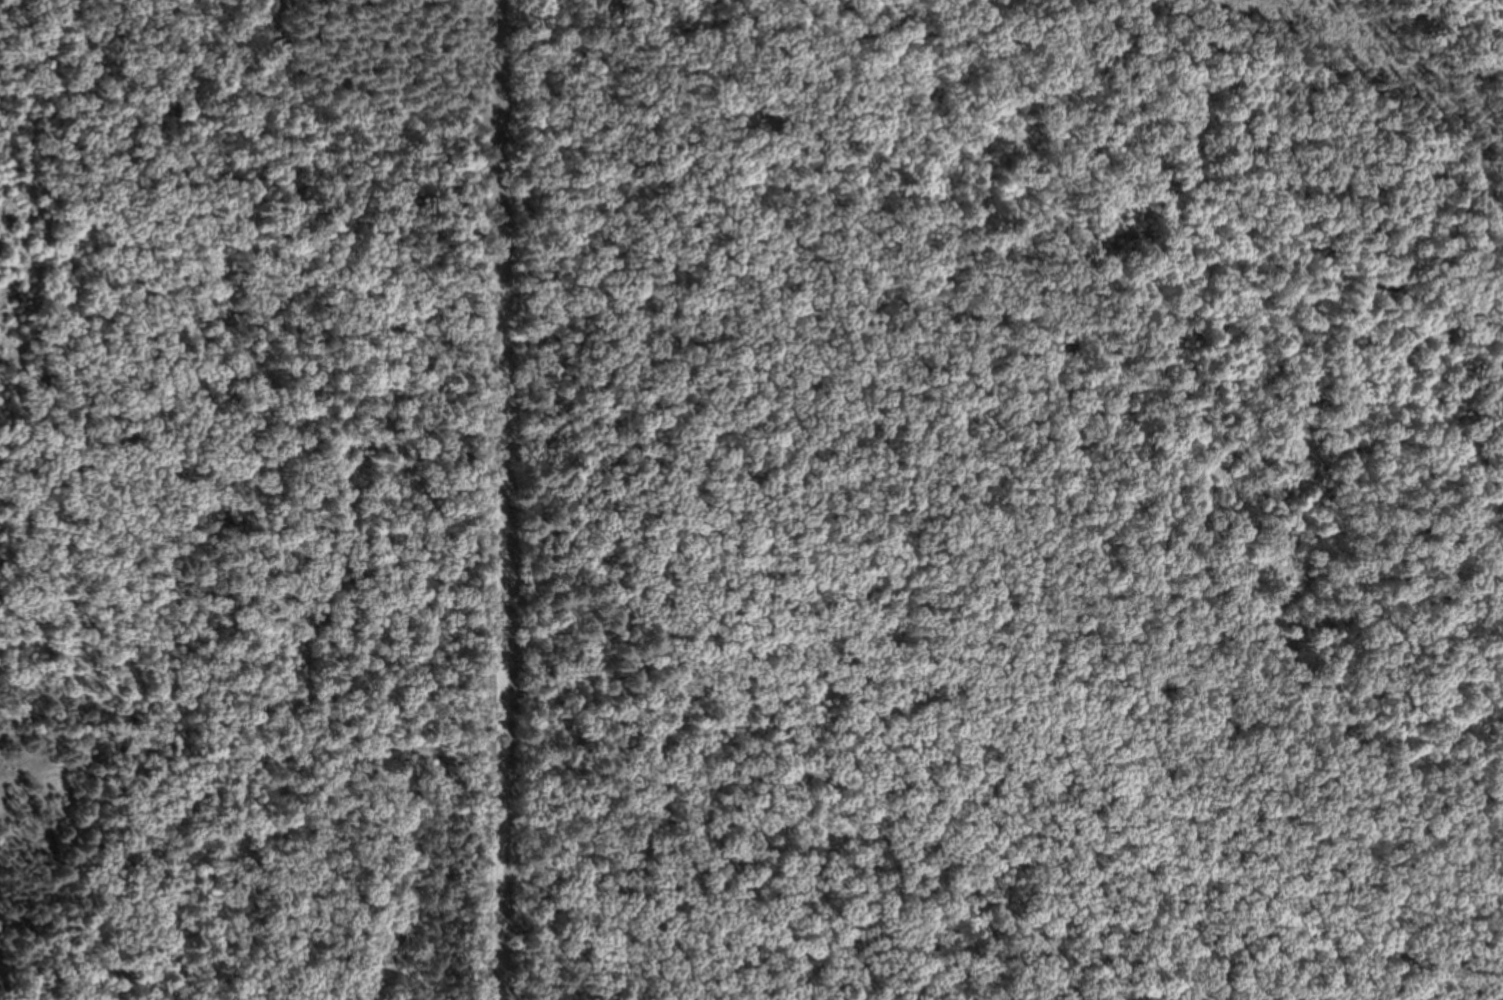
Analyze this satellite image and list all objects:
road: (502, 500)

